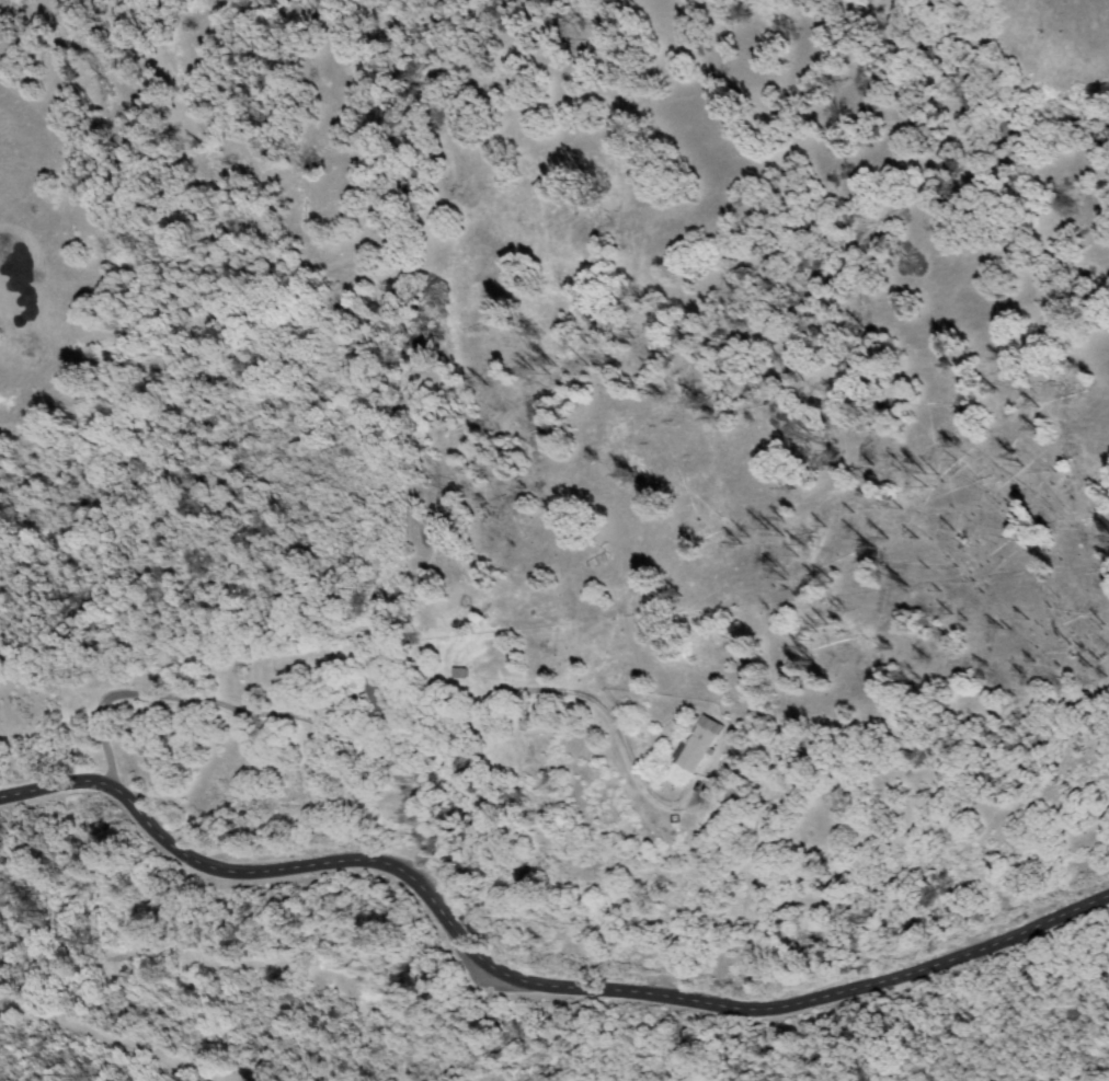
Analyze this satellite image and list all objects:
building: (374, 686)
building: (701, 745)
road: (524, 981)

